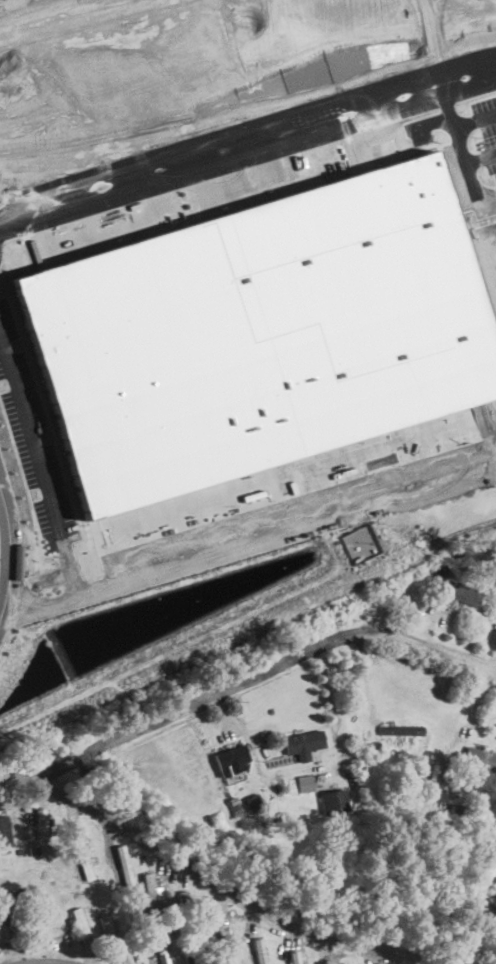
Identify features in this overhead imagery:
road: (477, 113)
road: (244, 138)
road: (471, 163)
road: (4, 240)
road: (43, 449)
road: (251, 537)
road: (9, 553)
building: (459, 591)
road: (239, 668)
road: (464, 723)
building: (401, 729)
building: (302, 744)
building: (479, 758)
building: (232, 759)
building: (303, 784)
building: (253, 800)
building: (332, 801)
building: (456, 815)
building: (5, 830)
building: (41, 830)
building: (493, 847)
building: (83, 858)
building: (122, 866)
building: (148, 891)
road: (229, 891)
building: (11, 920)
building: (35, 925)
building: (80, 926)
building: (107, 936)
building: (217, 939)
building: (259, 950)
building: (160, 951)
building: (292, 957)
building: (188, 959)

